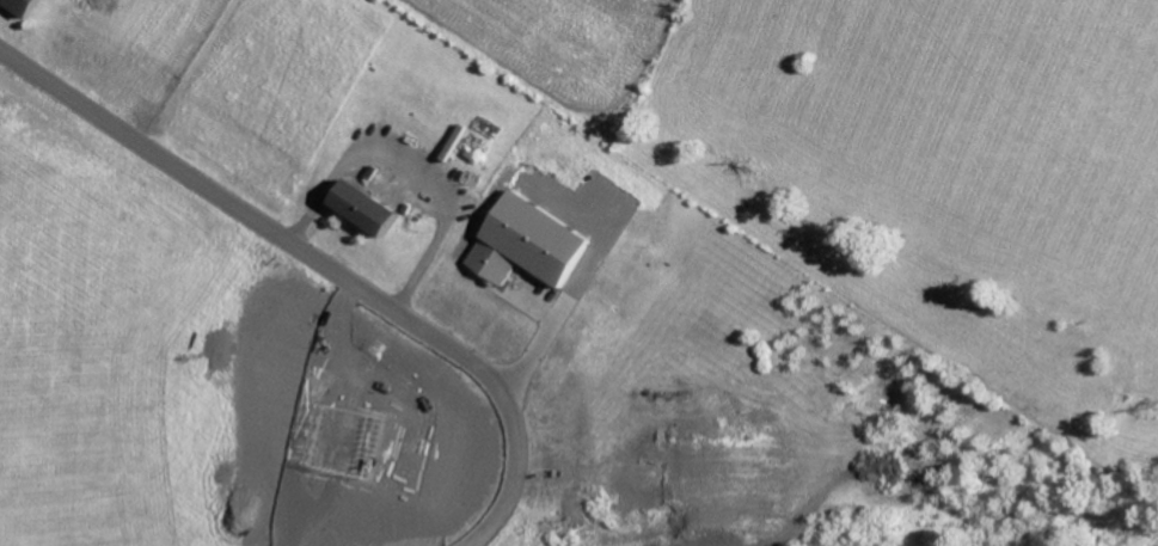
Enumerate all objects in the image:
building: (22, 5)
road: (403, 173)
building: (366, 207)
building: (537, 244)
road: (324, 266)
road: (397, 380)
road: (305, 411)

